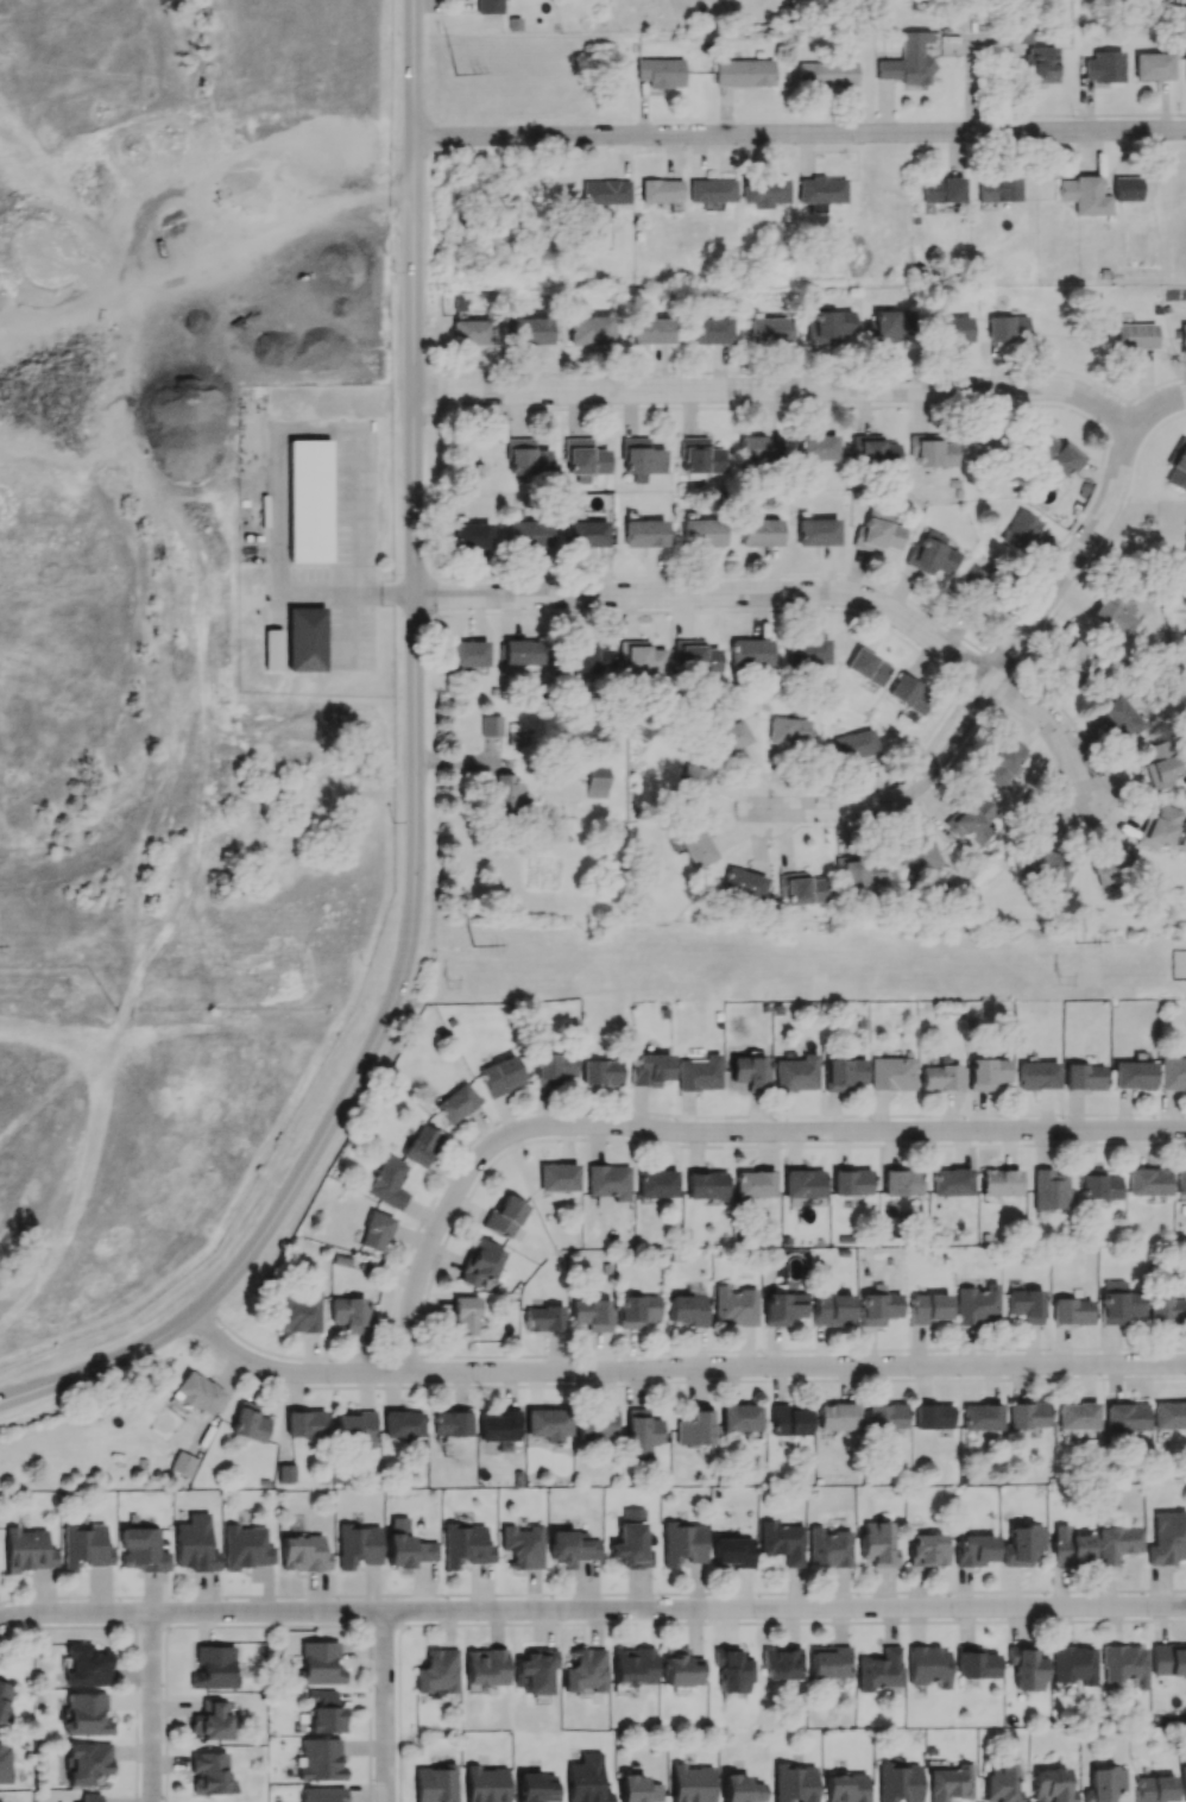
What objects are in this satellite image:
building: (488, 6)
building: (1020, 32)
building: (908, 61)
building: (1040, 65)
building: (1152, 65)
building: (1103, 67)
building: (661, 71)
building: (744, 73)
building: (826, 74)
power tower: (454, 75)
building: (1185, 75)
landfill: (88, 113)
road: (800, 133)
building: (1127, 188)
building: (942, 189)
building: (998, 189)
building: (661, 190)
building: (606, 191)
building: (764, 191)
building: (821, 191)
building: (712, 193)
building: (1083, 195)
building: (890, 325)
building: (829, 326)
building: (1005, 327)
building: (953, 328)
building: (589, 329)
building: (770, 329)
building: (530, 330)
building: (649, 330)
building: (709, 330)
building: (471, 332)
building: (1136, 335)
building: (1182, 336)
road: (781, 390)
road: (1157, 412)
road: (307, 430)
building: (980, 442)
building: (818, 447)
building: (759, 448)
building: (873, 450)
building: (932, 450)
building: (1059, 455)
building: (526, 456)
building: (585, 456)
building: (642, 456)
building: (701, 456)
building: (1178, 466)
building: (308, 499)
building: (581, 530)
building: (1017, 530)
building: (759, 531)
building: (816, 531)
building: (644, 533)
building: (701, 533)
building: (877, 533)
building: (528, 534)
building: (471, 535)
parking lot: (346, 550)
building: (930, 554)
road: (1074, 563)
building: (971, 576)
road: (714, 596)
building: (1116, 612)
building: (305, 638)
building: (271, 650)
building: (750, 651)
building: (807, 651)
building: (468, 653)
building: (521, 653)
building: (641, 656)
building: (695, 656)
building: (589, 659)
building: (1073, 663)
building: (868, 666)
landfill: (61, 668)
building: (910, 694)
building: (1121, 717)
building: (491, 725)
road: (1052, 726)
building: (788, 730)
building: (516, 733)
building: (730, 737)
building: (856, 744)
building: (1003, 763)
building: (1161, 763)
building: (595, 781)
building: (692, 785)
road: (906, 793)
building: (507, 794)
road: (415, 795)
building: (974, 819)
building: (1159, 828)
building: (696, 845)
building: (917, 856)
building: (1048, 868)
building: (1111, 868)
building: (859, 871)
building: (743, 886)
building: (801, 889)
power tower: (1073, 950)
power tower: (475, 952)
power tower: (1064, 981)
power tower: (449, 983)
building: (553, 1067)
building: (649, 1069)
building: (600, 1072)
building: (749, 1072)
building: (1173, 1072)
building: (699, 1073)
building: (796, 1073)
building: (843, 1073)
building: (891, 1073)
building: (986, 1073)
building: (1133, 1075)
building: (500, 1076)
building: (1037, 1076)
building: (939, 1077)
building: (1083, 1077)
building: (456, 1103)
road: (713, 1135)
building: (421, 1145)
building: (557, 1177)
building: (1181, 1180)
building: (387, 1182)
building: (608, 1182)
building: (852, 1182)
building: (902, 1182)
building: (952, 1182)
building: (999, 1182)
building: (1147, 1182)
building: (657, 1183)
building: (803, 1183)
building: (755, 1184)
building: (1097, 1184)
building: (706, 1185)
building: (1049, 1190)
building: (504, 1217)
building: (376, 1231)
building: (480, 1262)
building: (1118, 1303)
building: (977, 1305)
building: (1027, 1305)
building: (734, 1306)
building: (878, 1306)
building: (782, 1308)
building: (927, 1308)
building: (687, 1309)
building: (832, 1309)
building: (636, 1310)
building: (1168, 1310)
building: (1072, 1311)
building: (351, 1312)
building: (298, 1313)
building: (592, 1313)
building: (463, 1315)
building: (543, 1318)
road: (680, 1372)
building: (197, 1393)
building: (1028, 1414)
building: (1169, 1414)
building: (837, 1416)
building: (884, 1416)
building: (933, 1416)
building: (1078, 1416)
building: (1125, 1416)
building: (982, 1417)
building: (740, 1418)
building: (788, 1420)
building: (305, 1423)
building: (452, 1423)
building: (547, 1423)
building: (248, 1424)
building: (403, 1424)
building: (498, 1425)
building: (595, 1425)
building: (694, 1428)
building: (355, 1430)
building: (641, 1431)
building: (183, 1463)
building: (285, 1473)
building: (1167, 1537)
building: (631, 1540)
building: (782, 1542)
building: (1118, 1542)
building: (194, 1544)
building: (406, 1544)
building: (683, 1544)
building: (877, 1544)
building: (1022, 1544)
building: (358, 1545)
building: (465, 1545)
building: (523, 1545)
building: (84, 1546)
building: (246, 1546)
building: (573, 1546)
building: (1071, 1546)
building: (829, 1548)
building: (141, 1549)
building: (926, 1549)
building: (27, 1550)
building: (973, 1550)
building: (733, 1551)
building: (304, 1552)
road: (668, 1611)
road: (75, 1618)
building: (828, 1661)
building: (1168, 1661)
building: (974, 1662)
building: (320, 1663)
building: (780, 1663)
building: (1073, 1664)
building: (1125, 1664)
building: (87, 1665)
building: (633, 1665)
building: (928, 1665)
building: (485, 1666)
building: (214, 1668)
building: (679, 1668)
building: (1026, 1668)
building: (585, 1670)
building: (731, 1670)
building: (878, 1670)
building: (437, 1671)
building: (534, 1671)
building: (4, 1697)
road: (165, 1705)
road: (151, 1709)
road: (387, 1710)
building: (326, 1713)
building: (87, 1714)
building: (212, 1719)
building: (320, 1759)
building: (5, 1762)
building: (87, 1762)
building: (208, 1772)
building: (586, 1779)
building: (1184, 1781)
building: (898, 1782)
building: (692, 1783)
building: (794, 1783)
building: (951, 1783)
building: (1001, 1783)
building: (1104, 1783)
building: (436, 1784)
building: (485, 1784)
building: (1052, 1785)
building: (537, 1787)
building: (1154, 1788)
building: (638, 1789)
building: (742, 1789)
building: (322, 1794)
building: (90, 1797)
building: (1, 1801)

